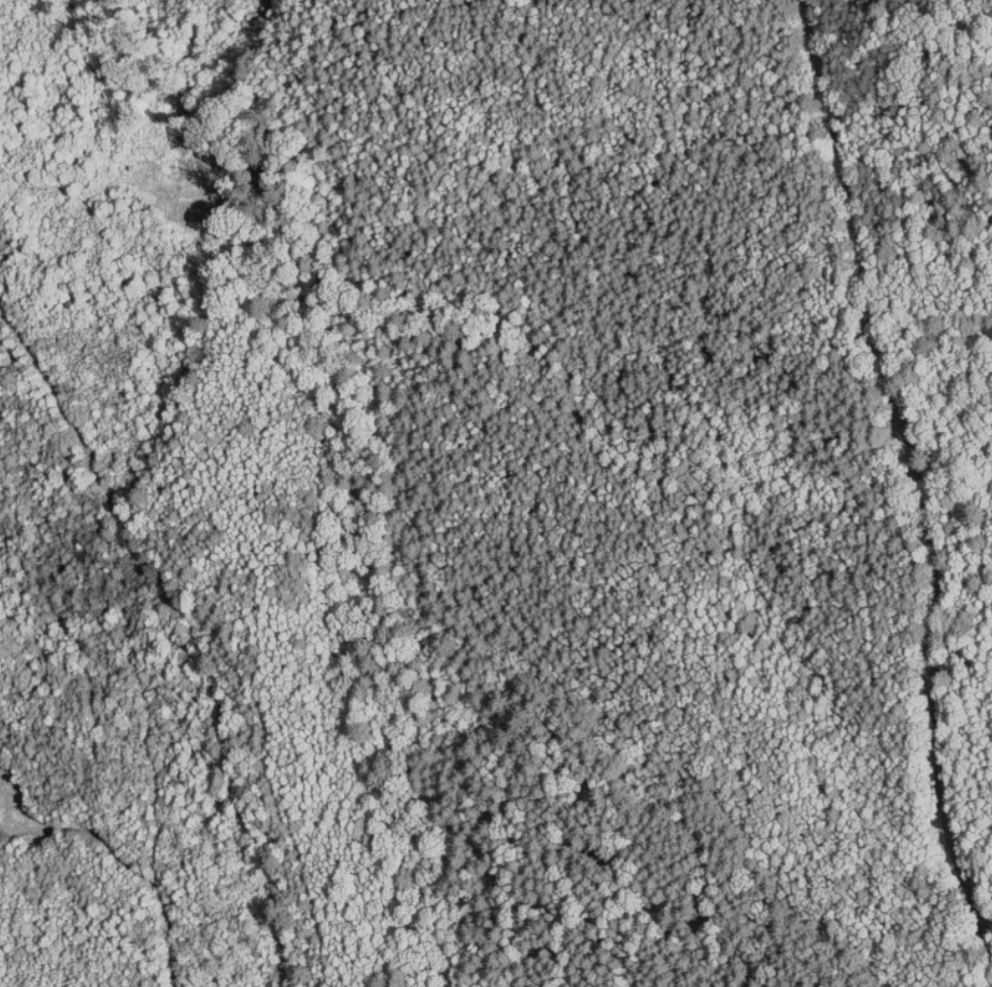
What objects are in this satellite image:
road: (919, 476)

